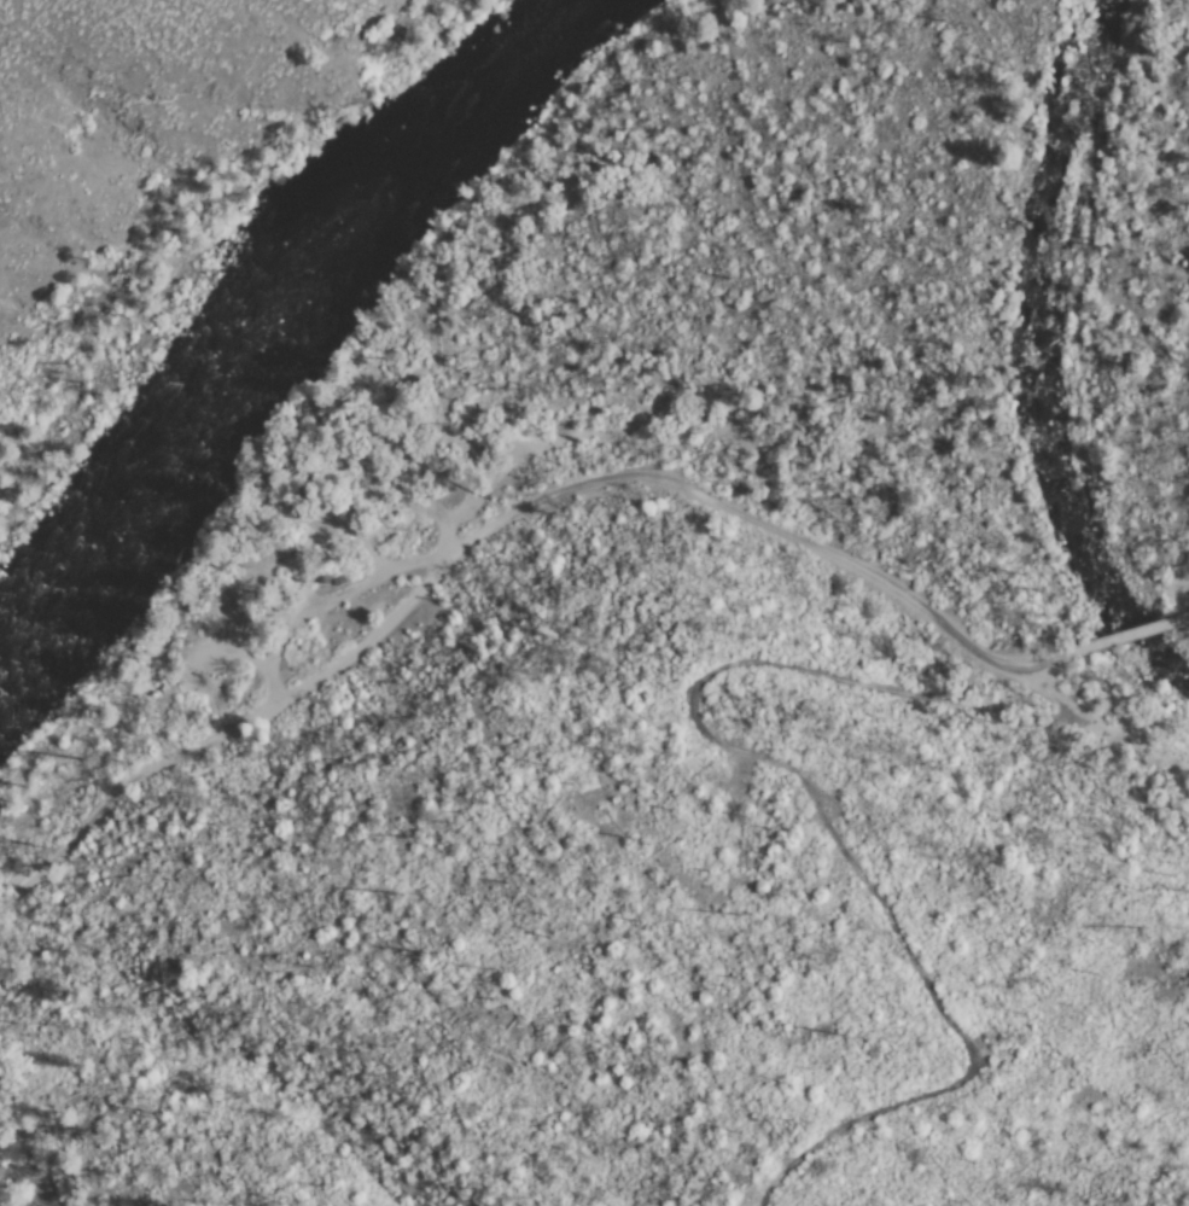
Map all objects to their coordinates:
river: (278, 313)
river: (1057, 359)
road: (496, 519)
road: (1132, 635)
road: (799, 775)

